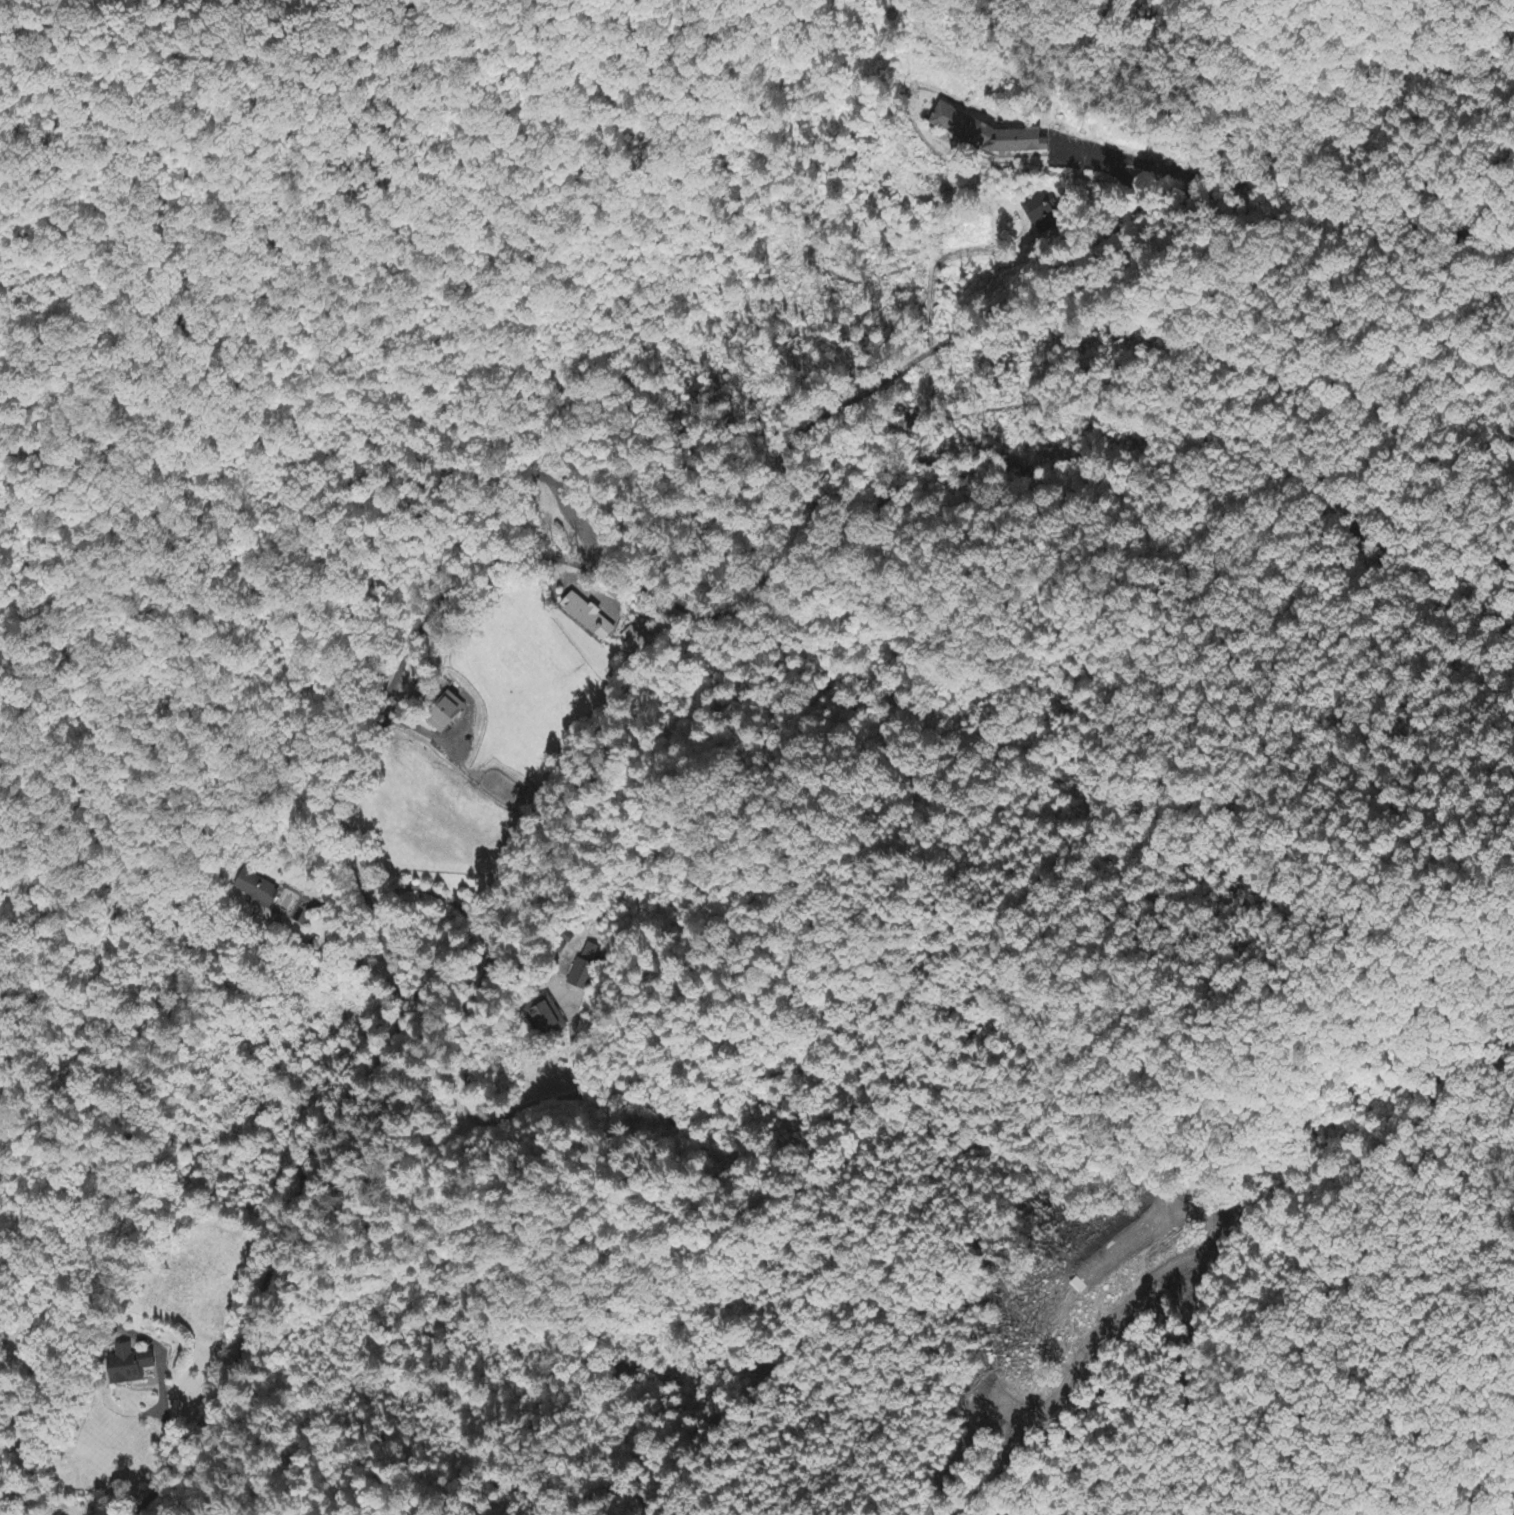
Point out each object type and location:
building: (956, 122)
building: (1024, 145)
building: (1041, 217)
road: (453, 603)
building: (587, 618)
building: (633, 642)
building: (443, 714)
building: (255, 890)
building: (585, 966)
building: (543, 1016)
building: (128, 1365)

